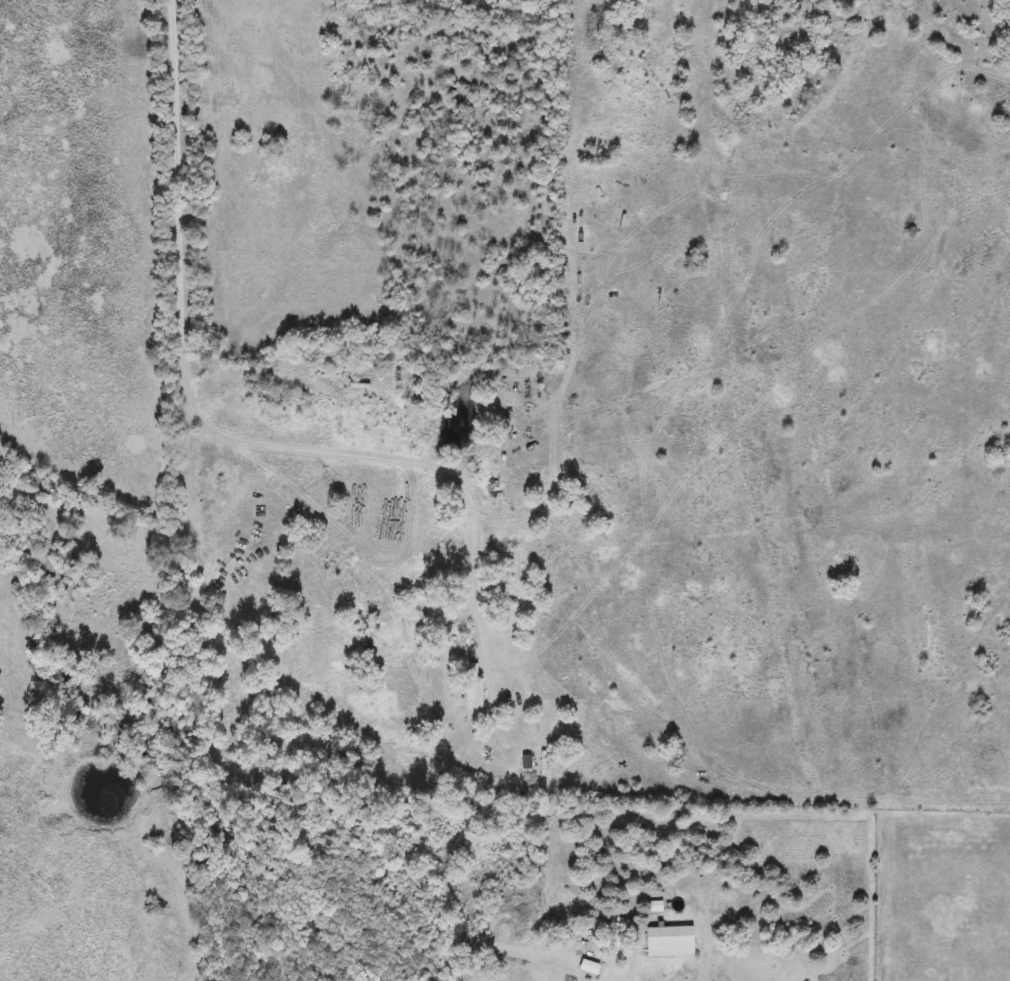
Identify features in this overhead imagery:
road: (576, 321)
road: (195, 420)
building: (475, 686)
building: (672, 942)

